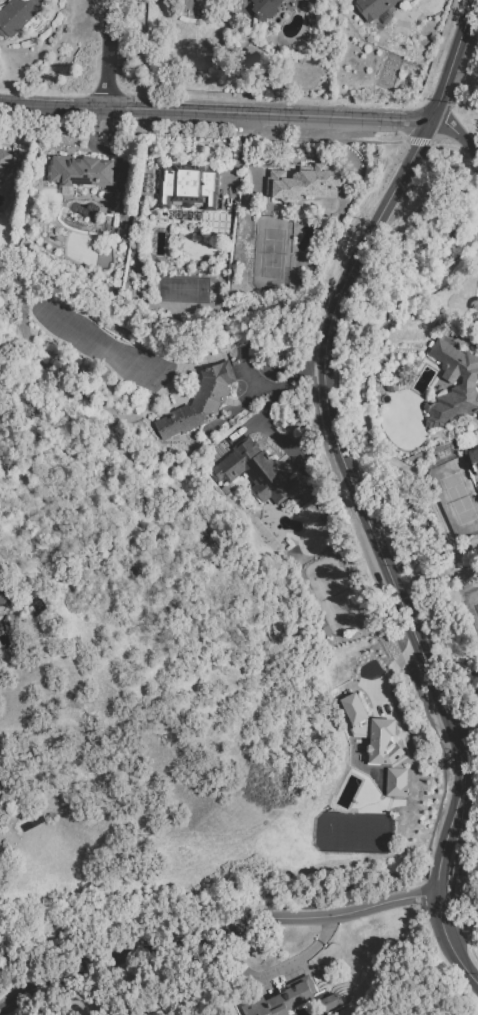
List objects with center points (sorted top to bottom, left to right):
building: (264, 8)
building: (372, 8)
building: (17, 14)
road: (110, 53)
road: (215, 111)
road: (209, 127)
road: (456, 132)
building: (4, 161)
building: (79, 170)
building: (303, 182)
building: (187, 186)
park: (271, 252)
road: (467, 347)
road: (251, 374)
building: (453, 384)
road: (363, 388)
building: (198, 401)
road: (259, 417)
building: (473, 459)
building: (259, 473)
road: (356, 487)
park: (455, 495)
road: (427, 571)
road: (407, 576)
park: (334, 593)
park: (472, 607)
road: (386, 674)
building: (352, 708)
road: (464, 737)
building: (382, 741)
building: (395, 781)
building: (347, 791)
road: (211, 932)
road: (464, 932)
building: (280, 999)
building: (329, 1001)

